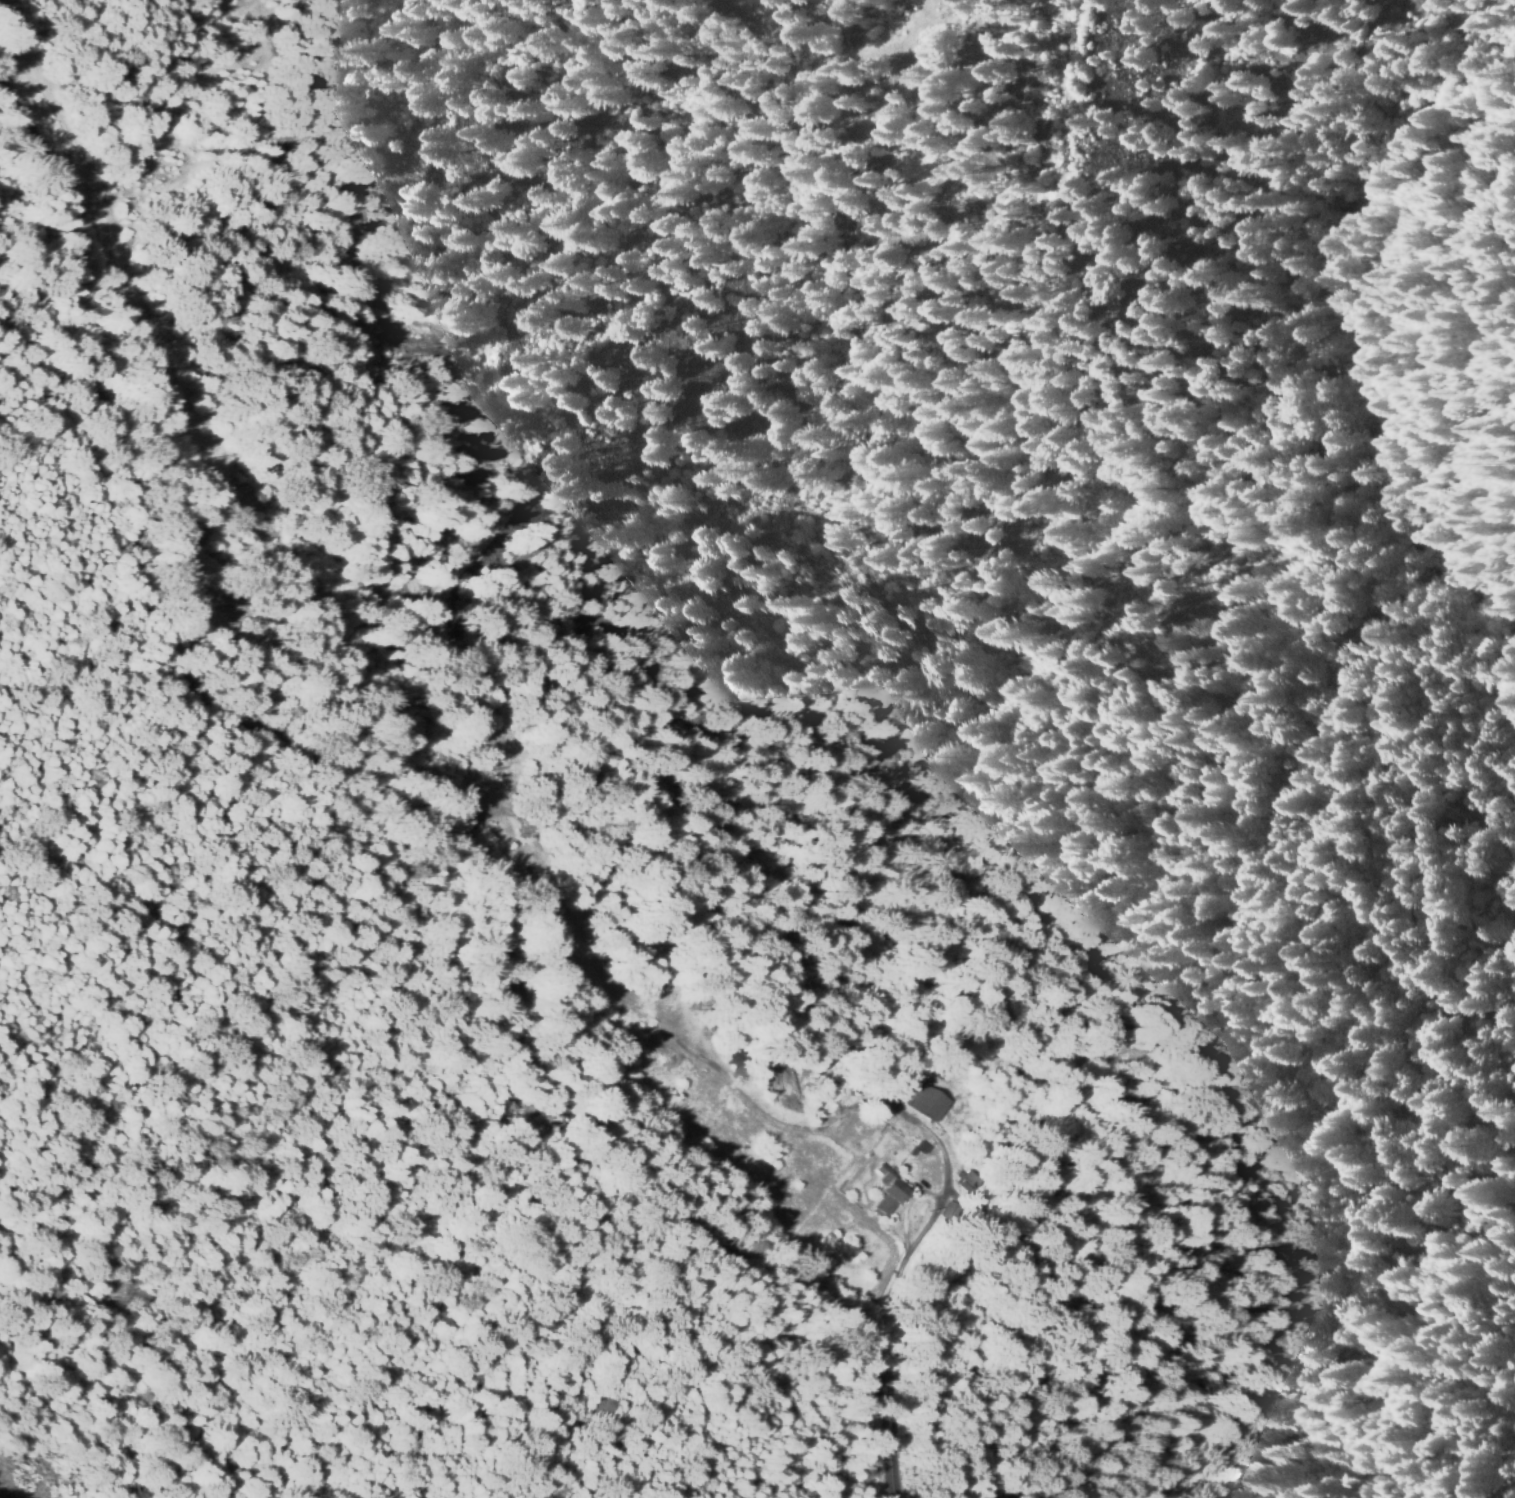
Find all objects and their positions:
road: (51, 354)
road: (419, 811)
building: (928, 1104)
building: (875, 1118)
building: (921, 1149)
building: (969, 1179)
building: (890, 1190)
building: (952, 1212)

